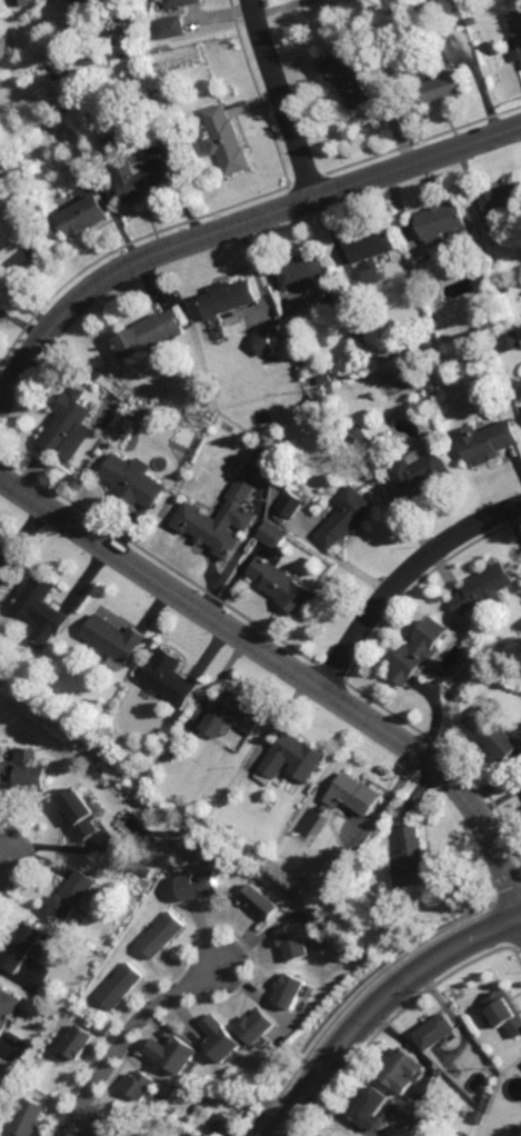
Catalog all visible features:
building: (73, 0)
building: (22, 2)
building: (173, 2)
building: (168, 28)
building: (514, 33)
building: (123, 36)
building: (43, 48)
building: (84, 70)
building: (60, 72)
building: (344, 78)
building: (442, 87)
building: (158, 89)
road: (281, 99)
building: (106, 140)
building: (223, 140)
building: (138, 181)
building: (503, 201)
building: (83, 215)
building: (440, 221)
building: (519, 223)
road: (234, 227)
building: (474, 228)
building: (372, 245)
building: (24, 253)
building: (301, 270)
building: (505, 286)
building: (226, 298)
building: (147, 335)
building: (293, 337)
building: (511, 341)
building: (263, 343)
building: (97, 376)
building: (431, 389)
building: (208, 401)
building: (322, 403)
building: (208, 419)
building: (67, 426)
building: (355, 437)
building: (487, 441)
building: (418, 475)
building: (131, 482)
building: (289, 506)
building: (345, 518)
building: (220, 519)
building: (271, 536)
building: (8, 560)
road: (402, 576)
building: (282, 585)
building: (483, 588)
building: (44, 606)
building: (112, 637)
building: (418, 650)
road: (289, 667)
building: (167, 675)
building: (46, 692)
building: (232, 714)
building: (491, 733)
building: (171, 755)
building: (293, 757)
building: (24, 768)
building: (139, 775)
building: (354, 794)
building: (79, 813)
building: (411, 856)
road: (9, 860)
building: (148, 870)
building: (199, 885)
building: (71, 895)
building: (261, 900)
building: (161, 933)
building: (295, 941)
building: (20, 945)
building: (120, 985)
building: (291, 989)
road: (378, 1004)
building: (8, 1008)
building: (504, 1012)
building: (258, 1026)
building: (435, 1032)
road: (127, 1036)
building: (221, 1038)
building: (78, 1043)
building: (173, 1054)
building: (399, 1066)
building: (139, 1084)
building: (136, 1107)
building: (370, 1107)
building: (418, 1108)
building: (479, 1116)
building: (28, 1117)
building: (417, 1117)
building: (228, 1125)
building: (112, 1127)
road: (287, 1133)
building: (469, 1135)

